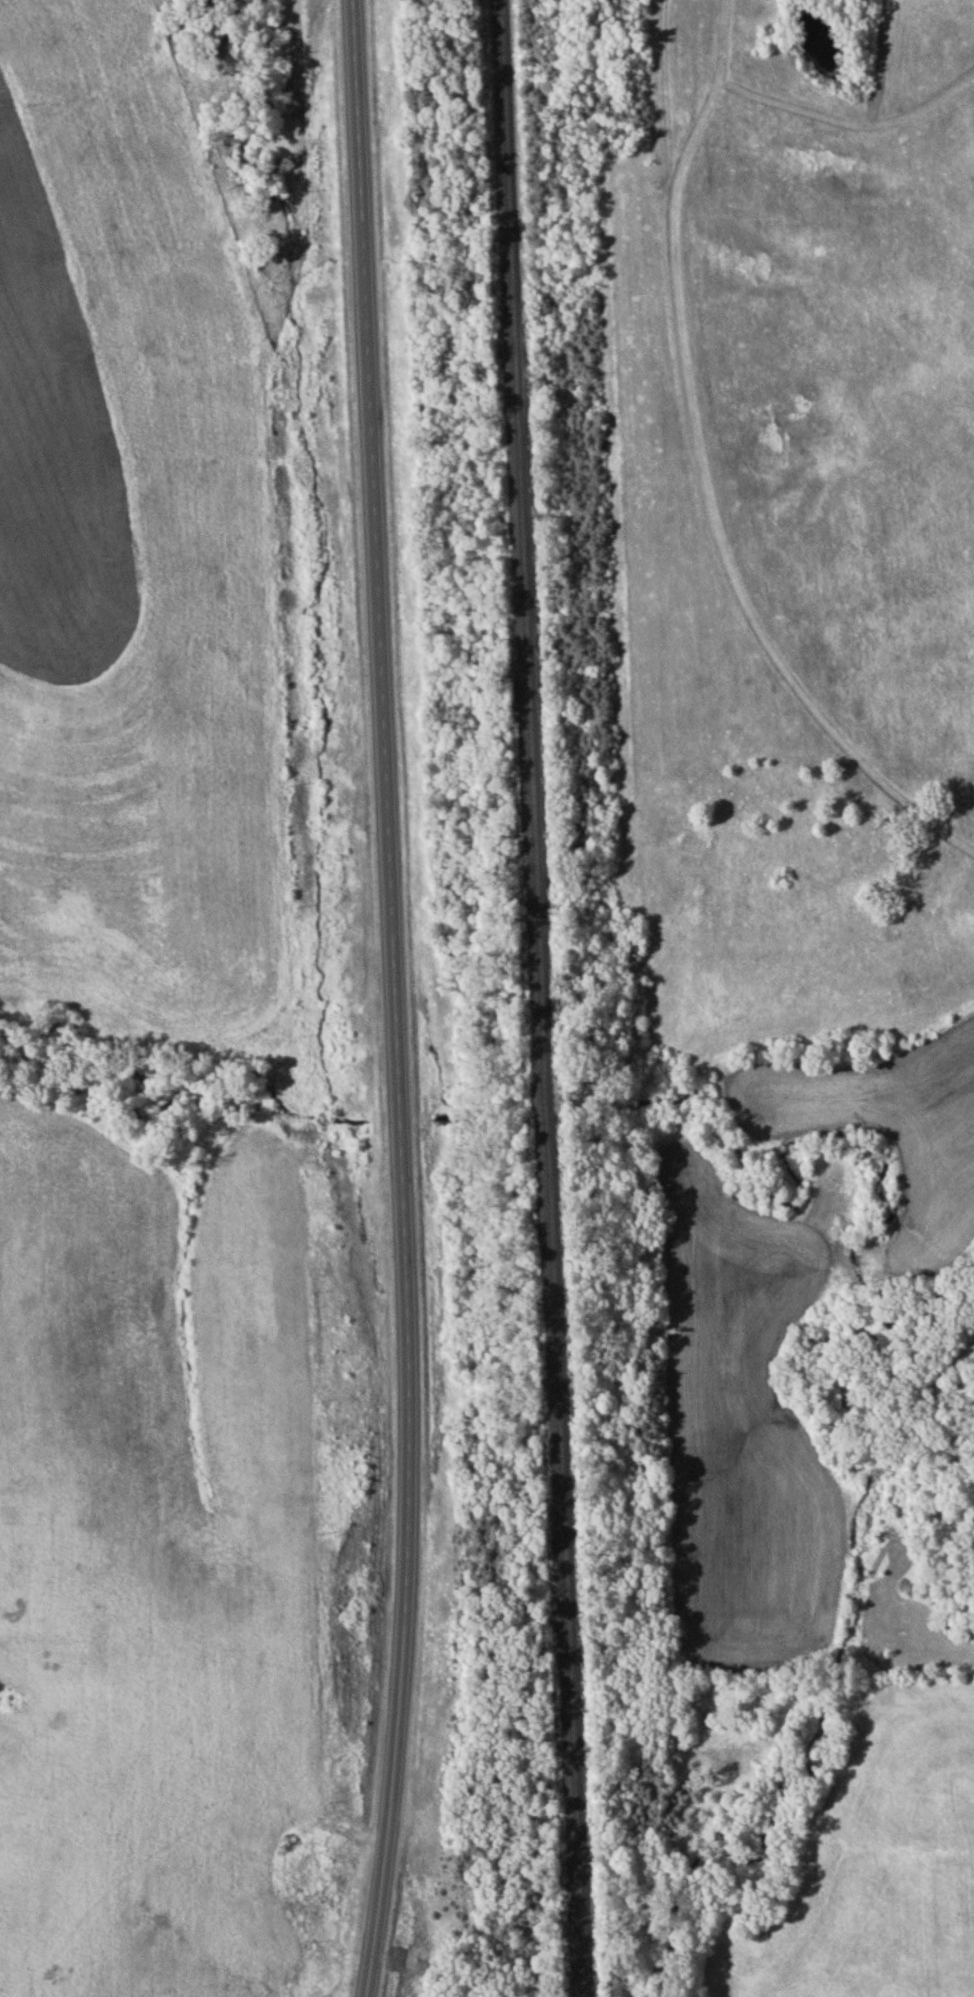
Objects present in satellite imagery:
railway: (539, 998)
road: (395, 999)

